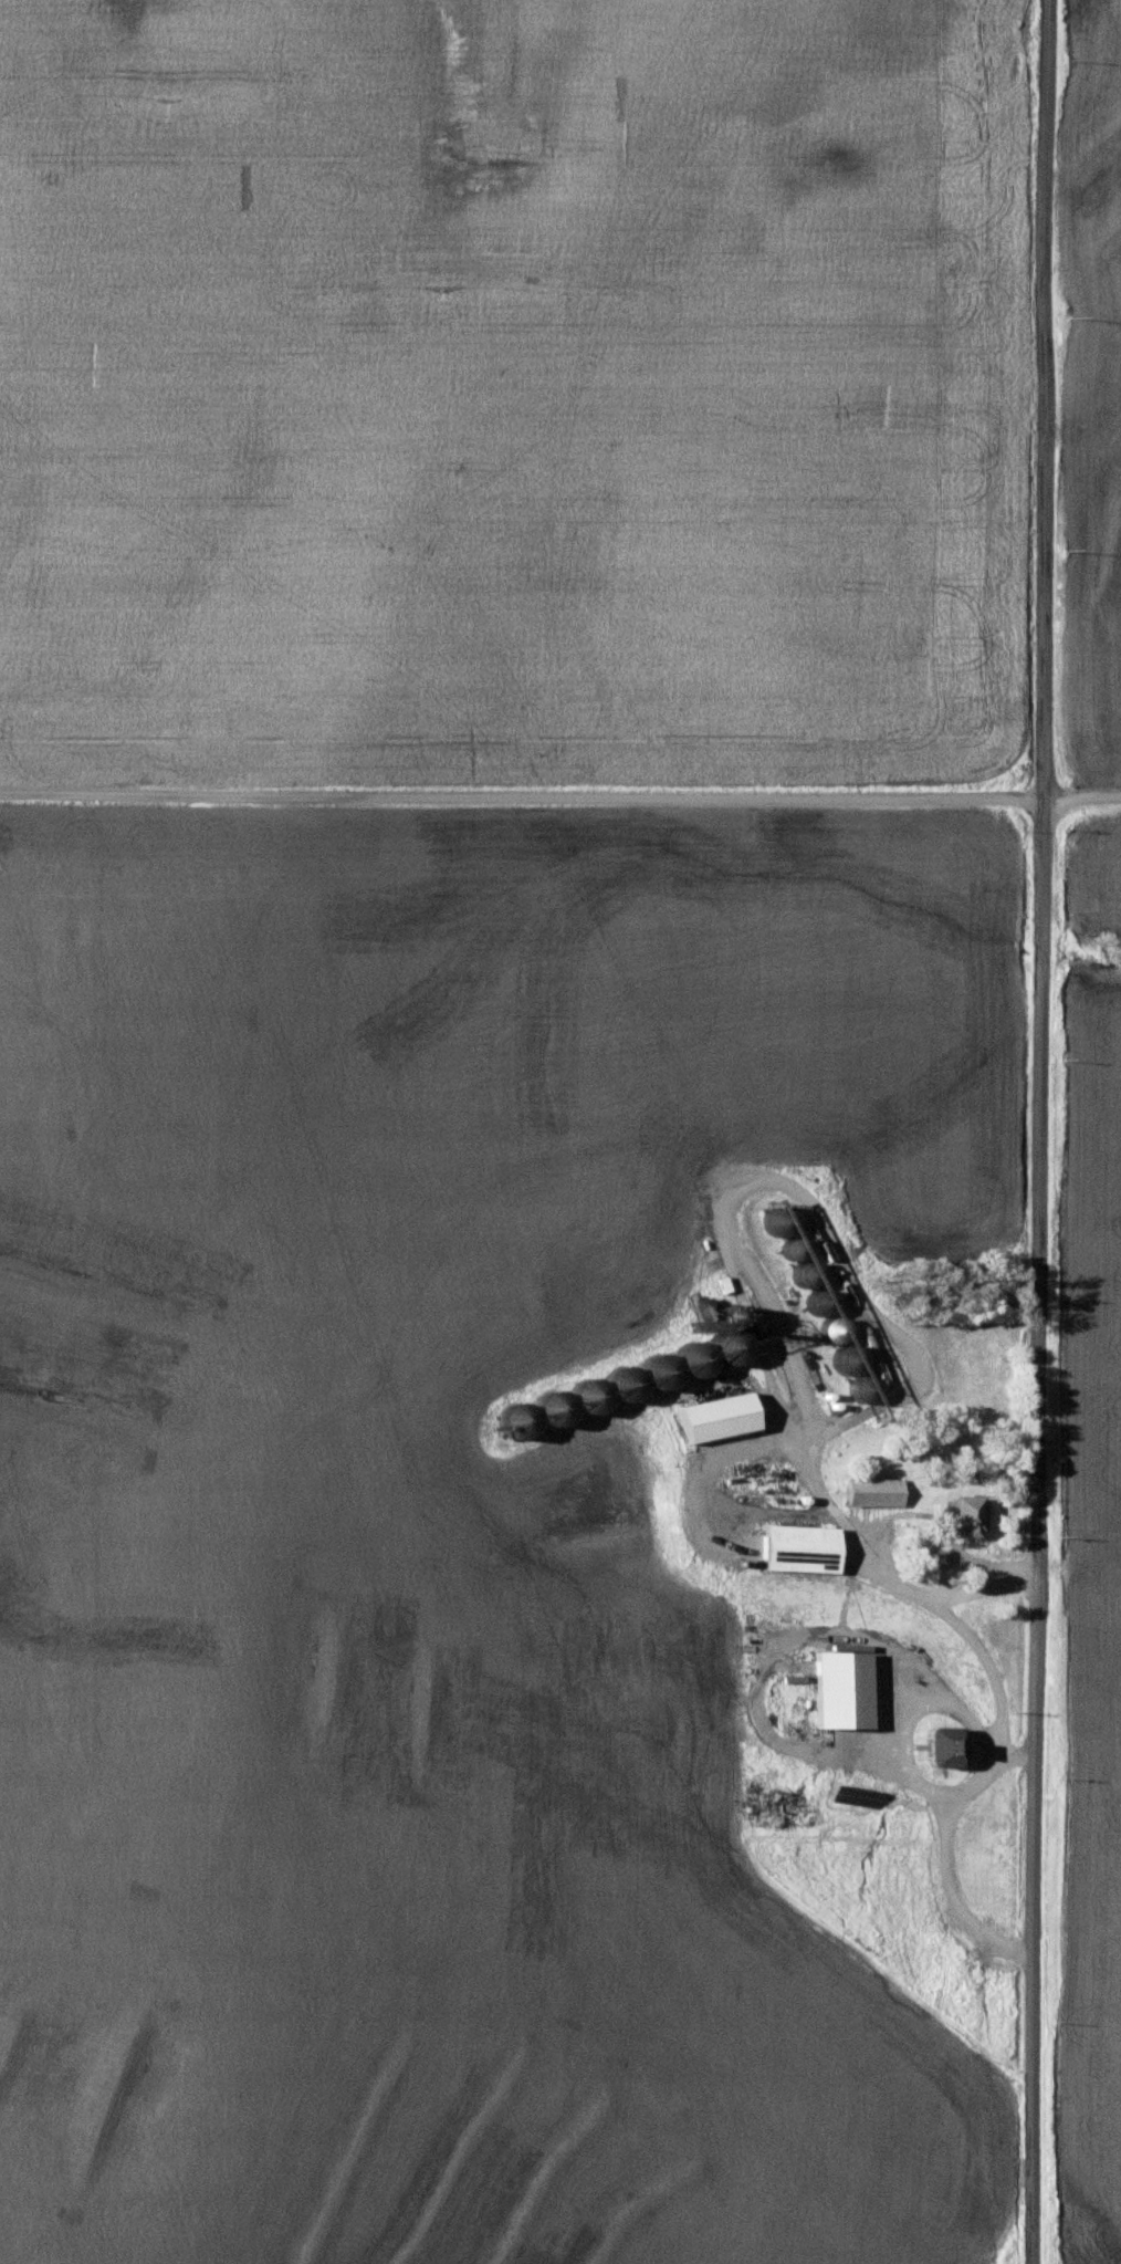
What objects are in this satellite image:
road: (559, 796)
road: (1043, 1131)
building: (733, 1347)
building: (695, 1360)
building: (662, 1370)
building: (629, 1381)
building: (865, 1386)
building: (877, 1490)
building: (965, 1512)
building: (803, 1546)
building: (940, 1556)
building: (844, 1687)
building: (951, 1744)

